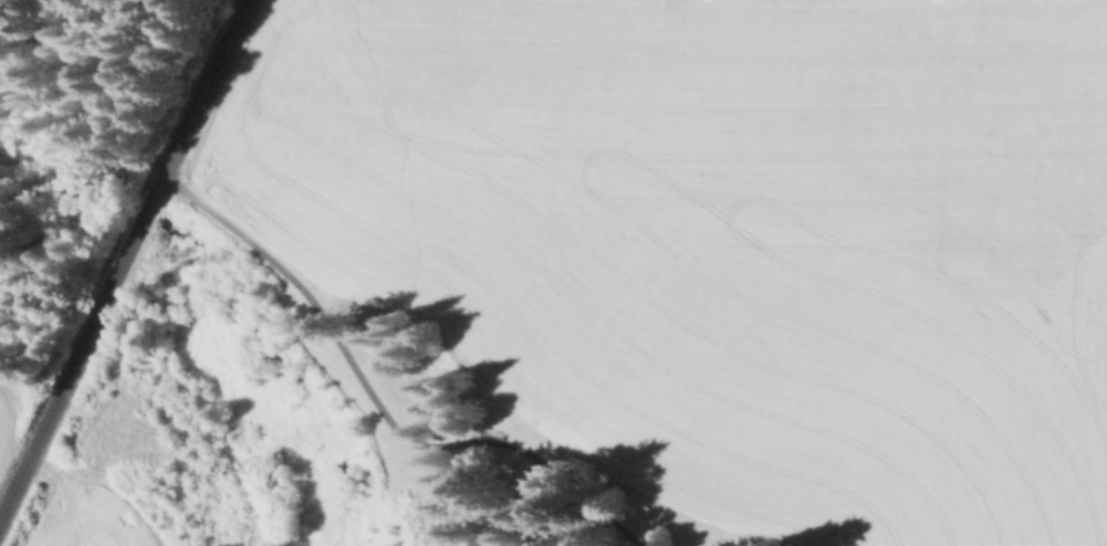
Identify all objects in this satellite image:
crop: (727, 237)
road: (123, 258)
road: (376, 403)
crop: (7, 420)
road: (166, 453)
crop: (84, 516)

